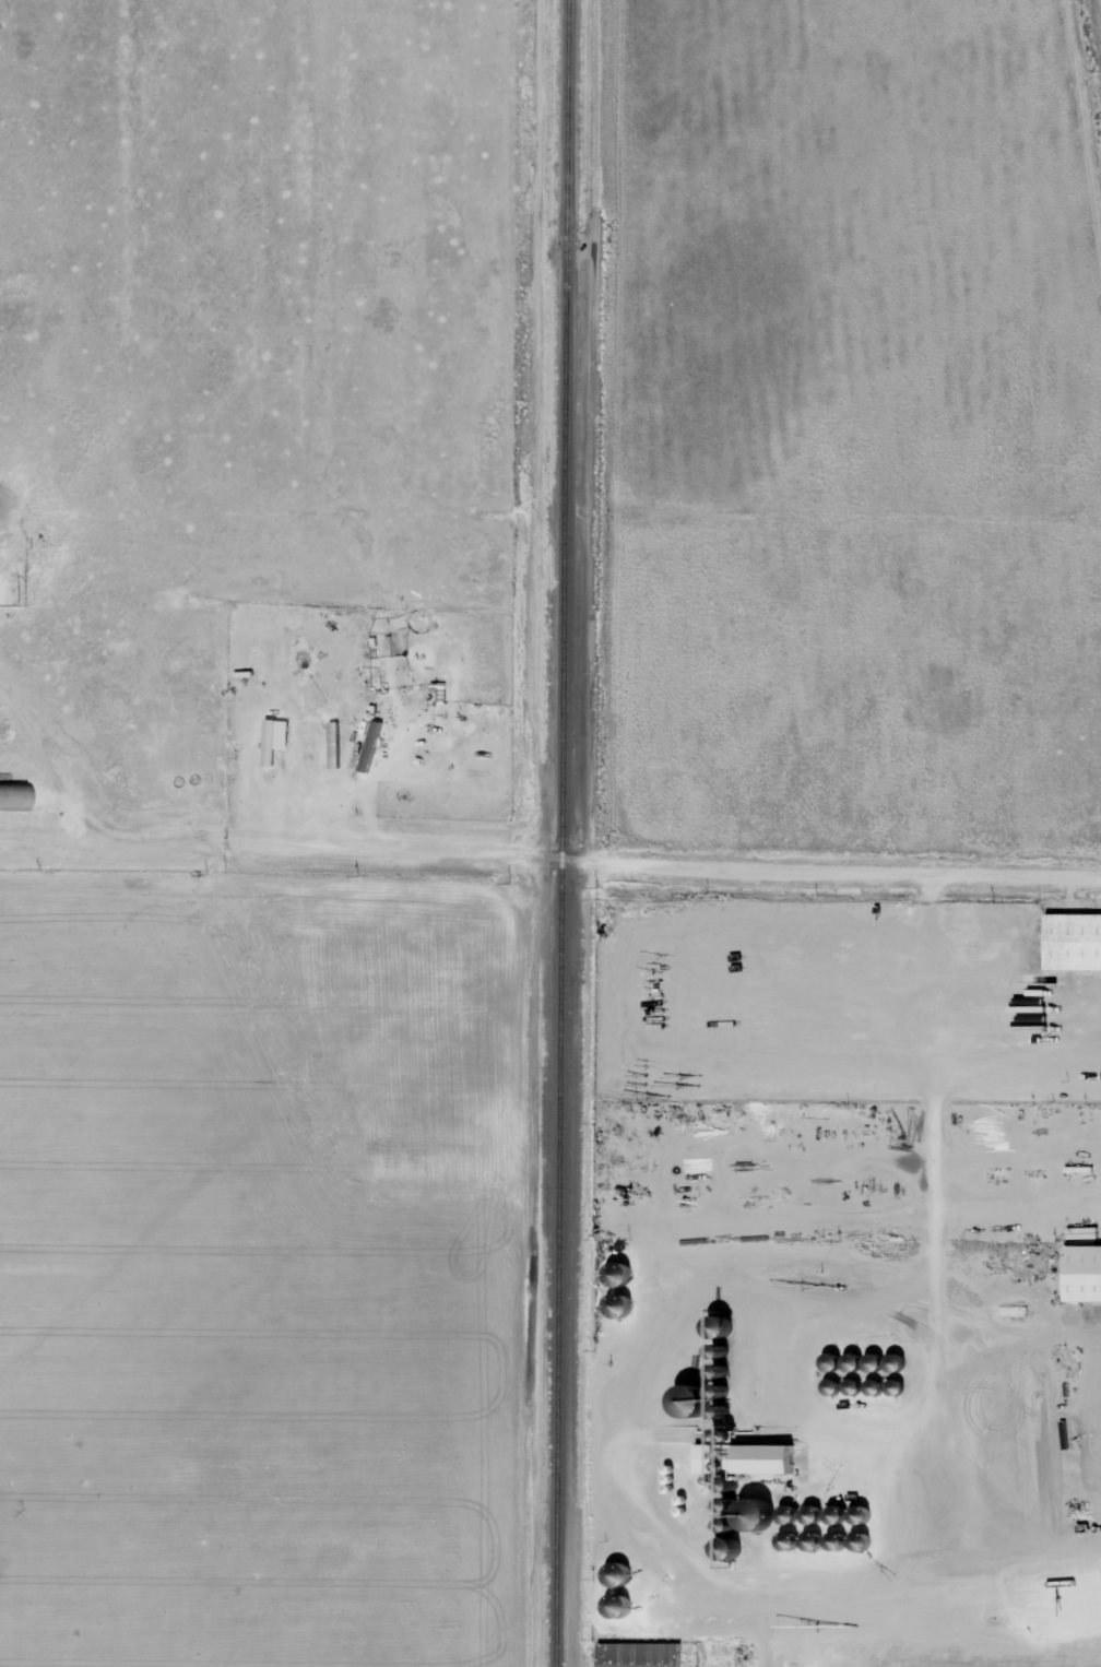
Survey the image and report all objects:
building: (274, 738)
building: (15, 795)
railway: (560, 832)
road: (719, 867)
building: (1074, 939)
building: (1082, 1272)
building: (709, 1457)
building: (770, 1457)
building: (640, 1654)

